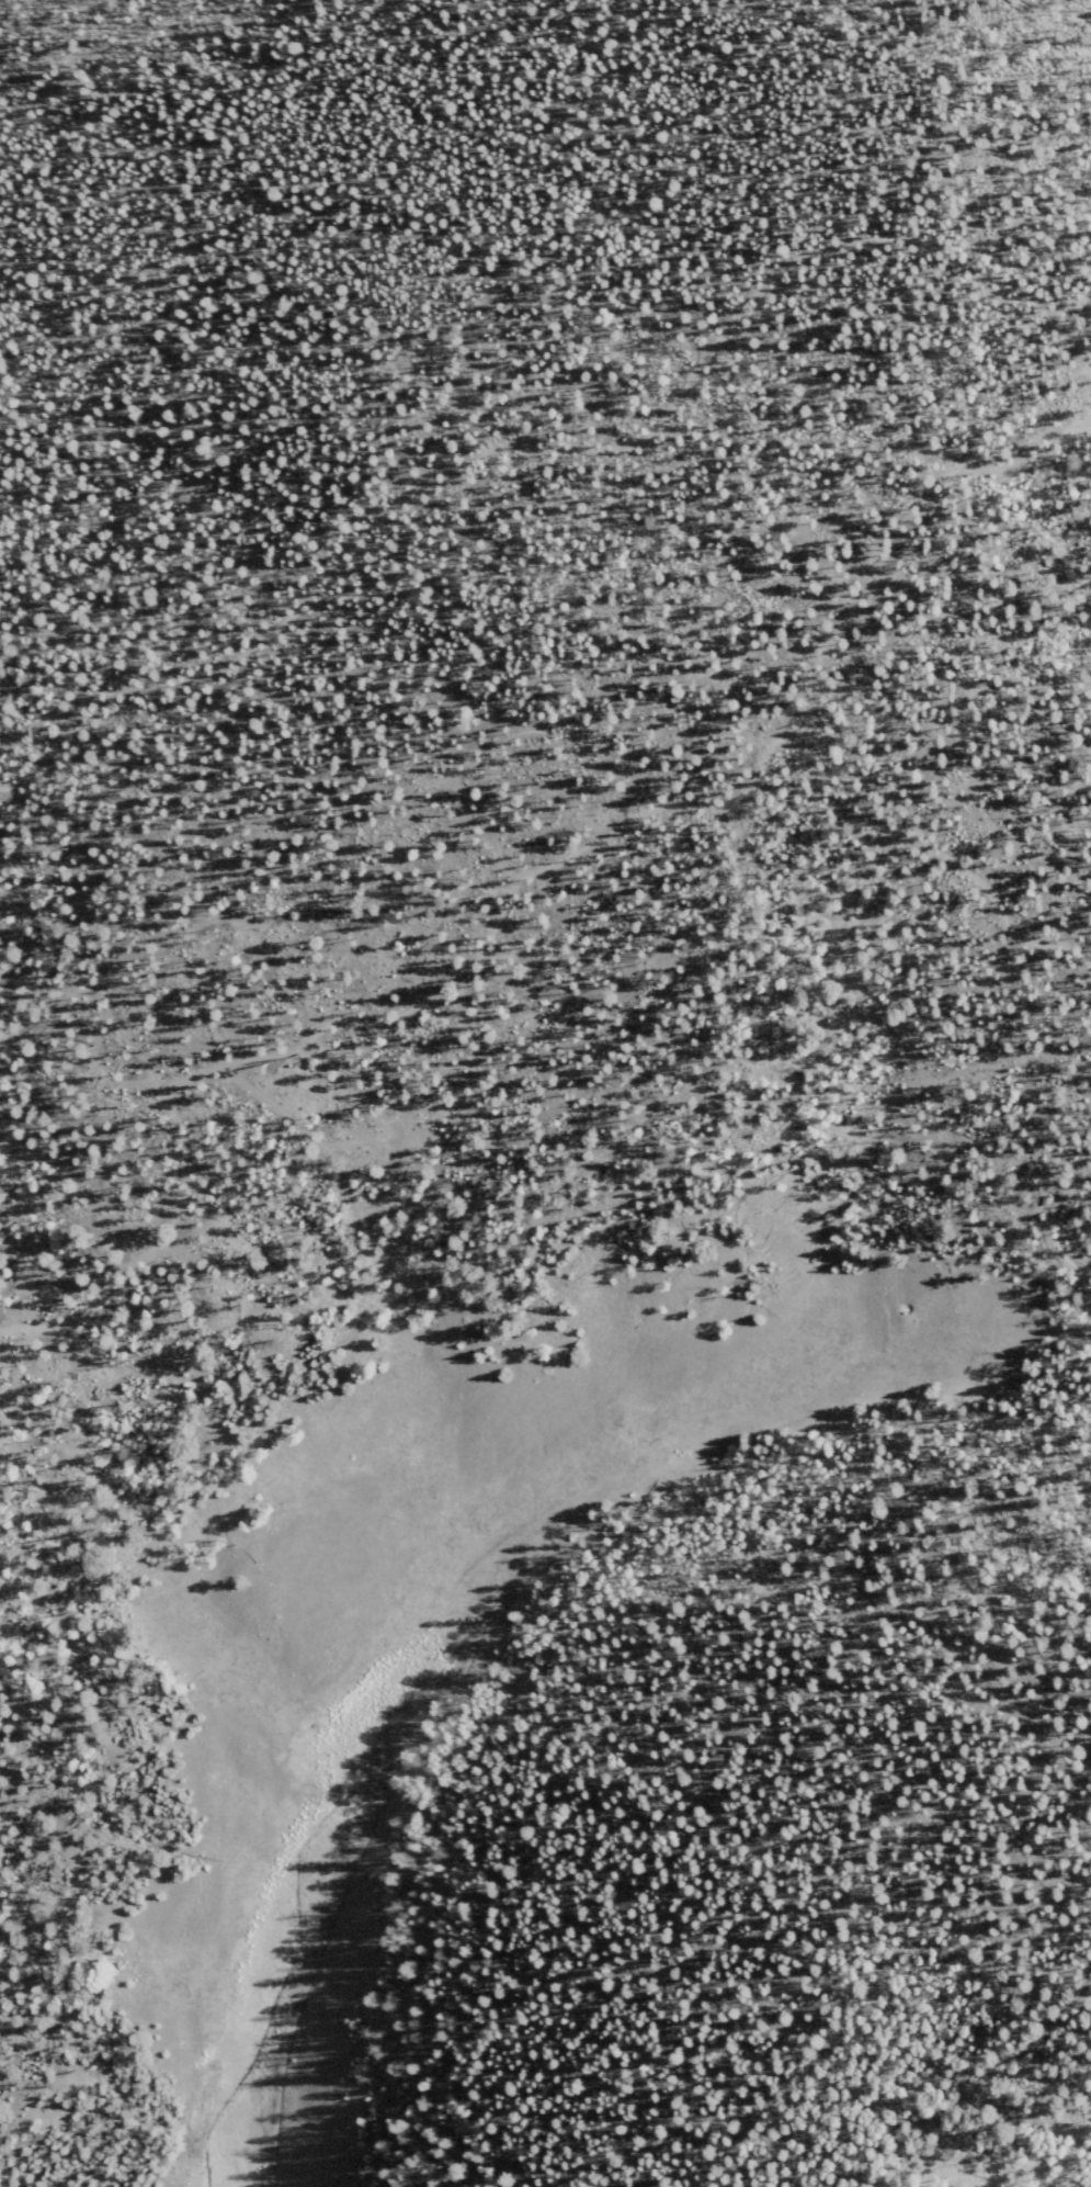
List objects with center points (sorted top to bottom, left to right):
road: (557, 426)
road: (890, 520)
park: (598, 786)
road: (509, 903)
road: (42, 1060)
road: (1059, 1233)
road: (47, 1378)

